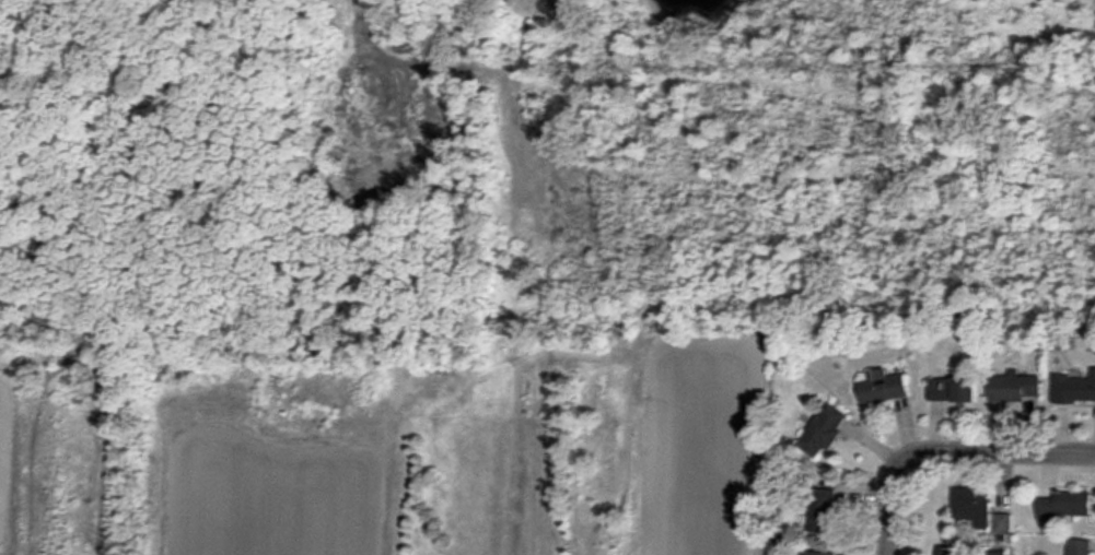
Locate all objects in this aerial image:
building: (498, 0)
building: (882, 387)
building: (1014, 388)
building: (953, 389)
building: (1073, 389)
building: (822, 430)
road: (995, 444)
road: (887, 501)
building: (1065, 506)
building: (971, 507)
building: (823, 509)
building: (1002, 523)
building: (1079, 546)
building: (951, 551)
building: (816, 553)

